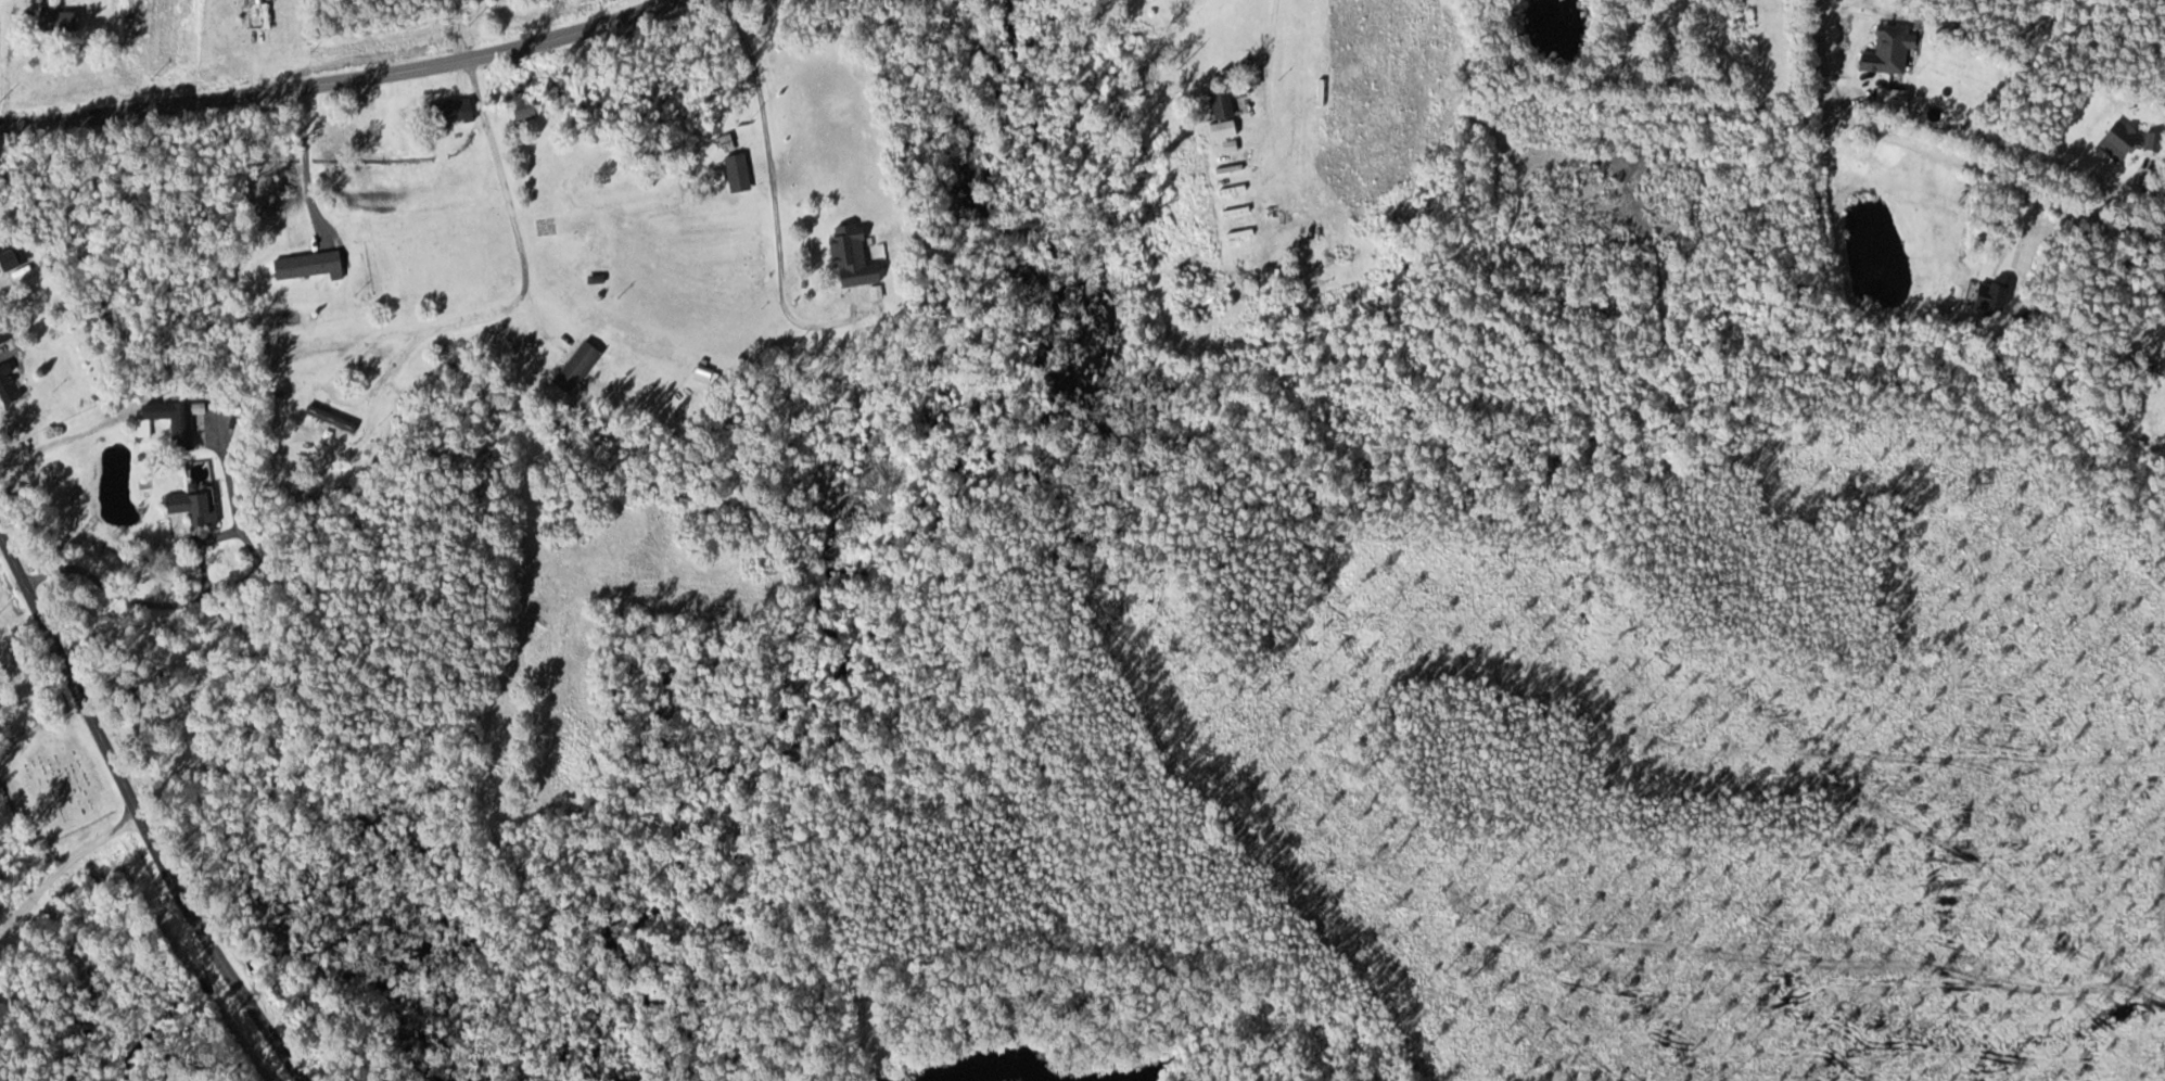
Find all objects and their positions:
building: (247, 5)
building: (66, 25)
road: (443, 31)
road: (1774, 59)
road: (700, 75)
road: (348, 79)
building: (1218, 103)
building: (522, 109)
building: (446, 111)
building: (1220, 128)
road: (488, 165)
building: (735, 173)
building: (575, 224)
building: (7, 255)
building: (849, 255)
building: (303, 264)
building: (101, 320)
building: (8, 327)
building: (574, 366)
building: (5, 387)
building: (187, 422)
building: (141, 428)
building: (189, 504)
road: (137, 814)
road: (60, 857)

